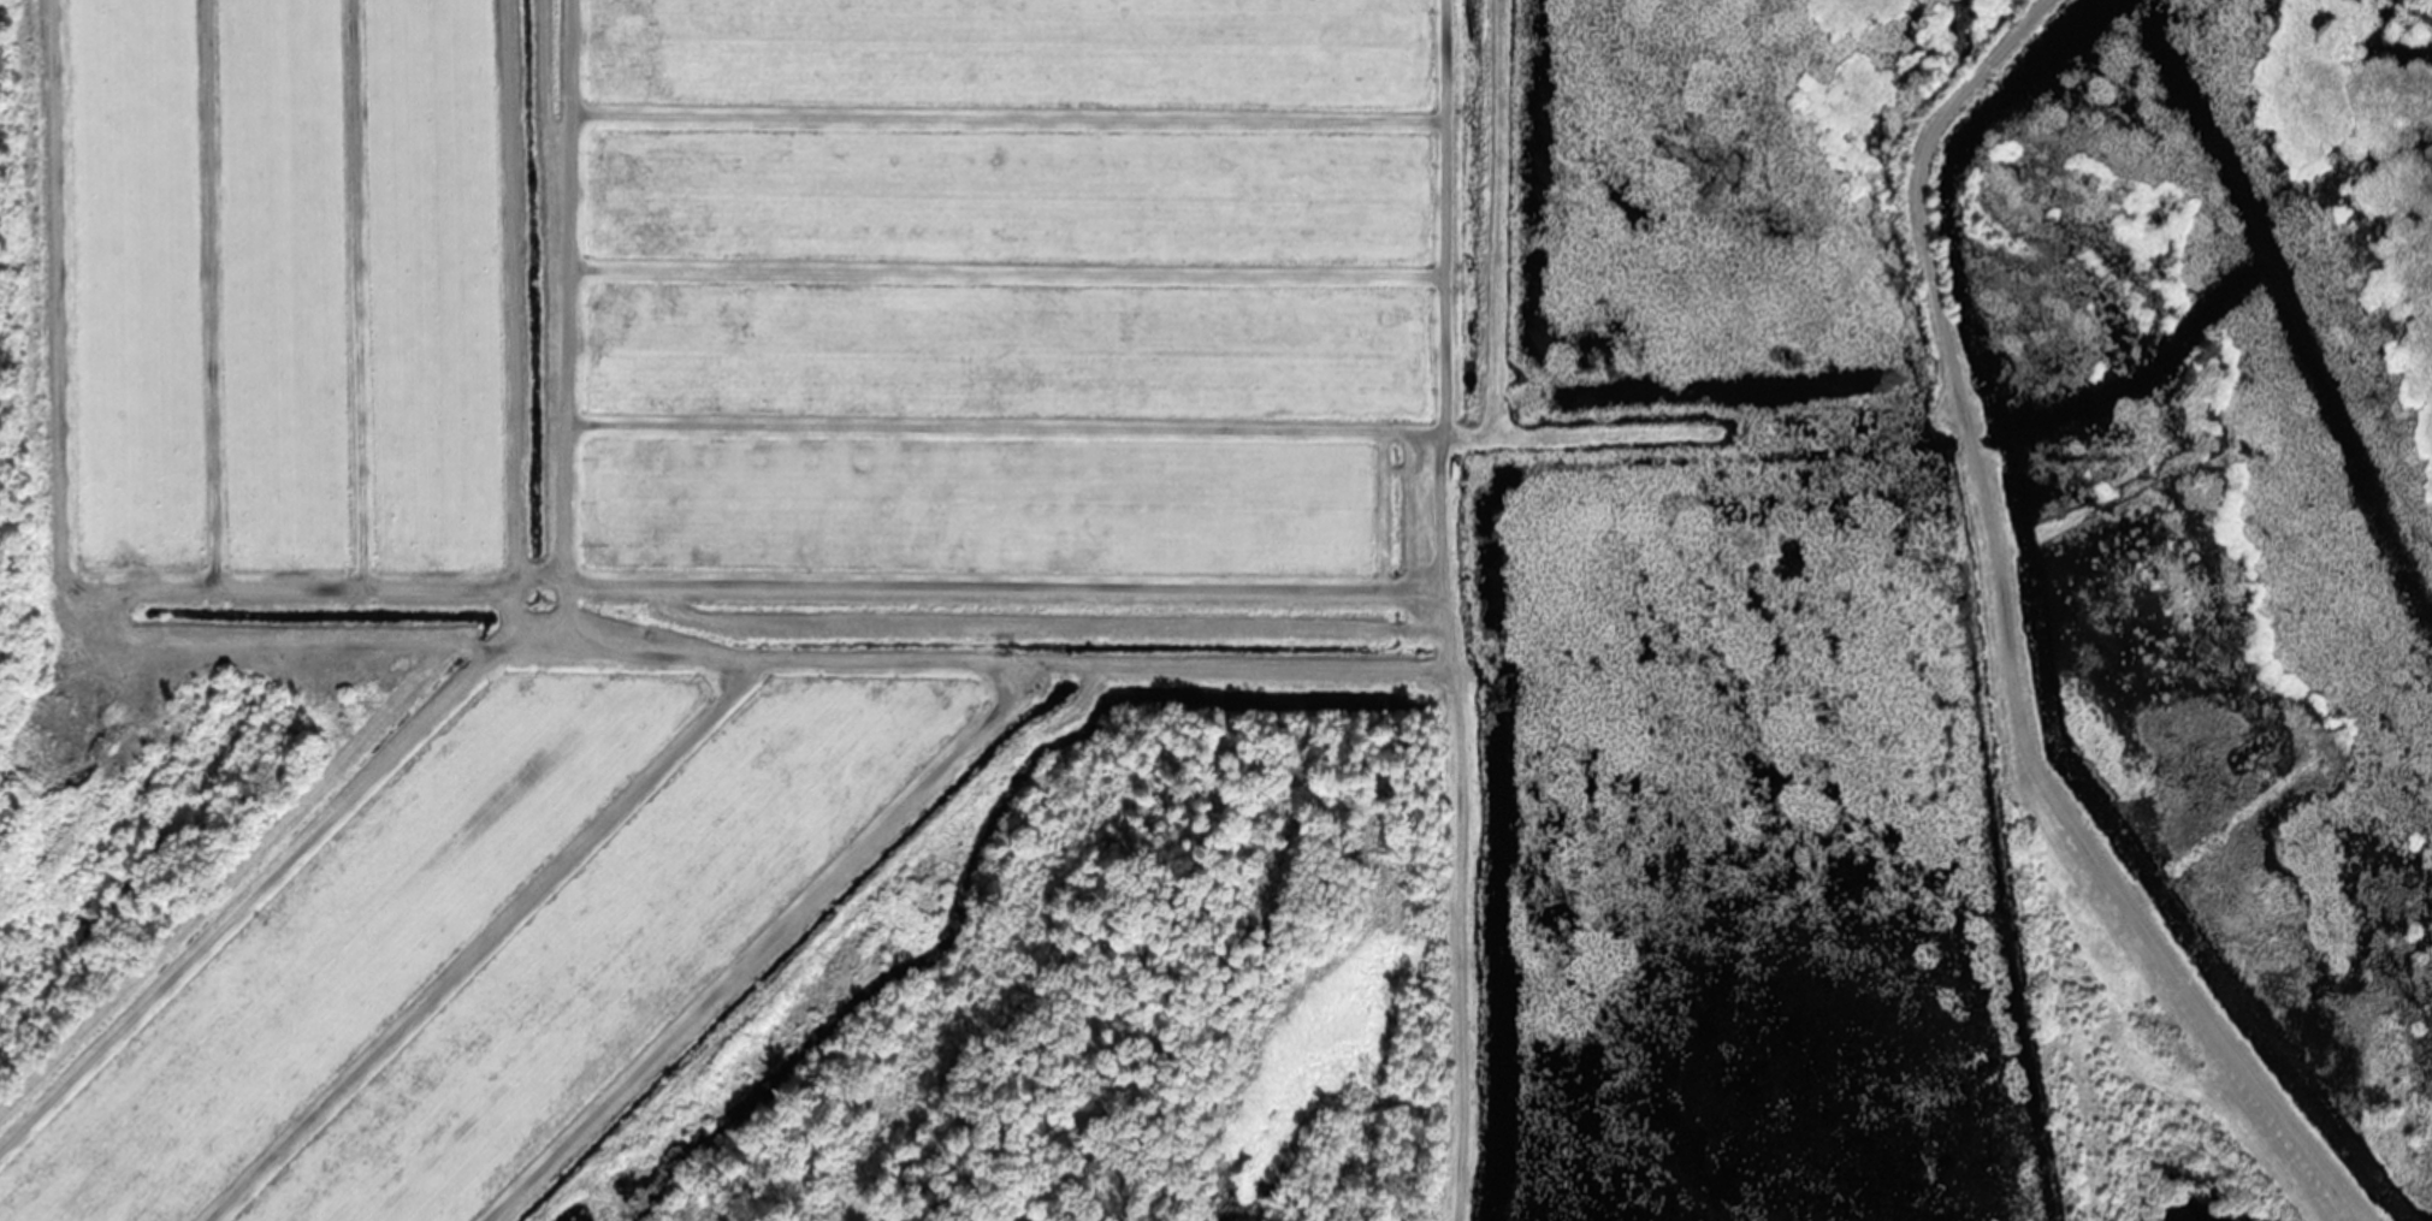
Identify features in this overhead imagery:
road: (1702, 434)
crop: (690, 488)
road: (1994, 648)

